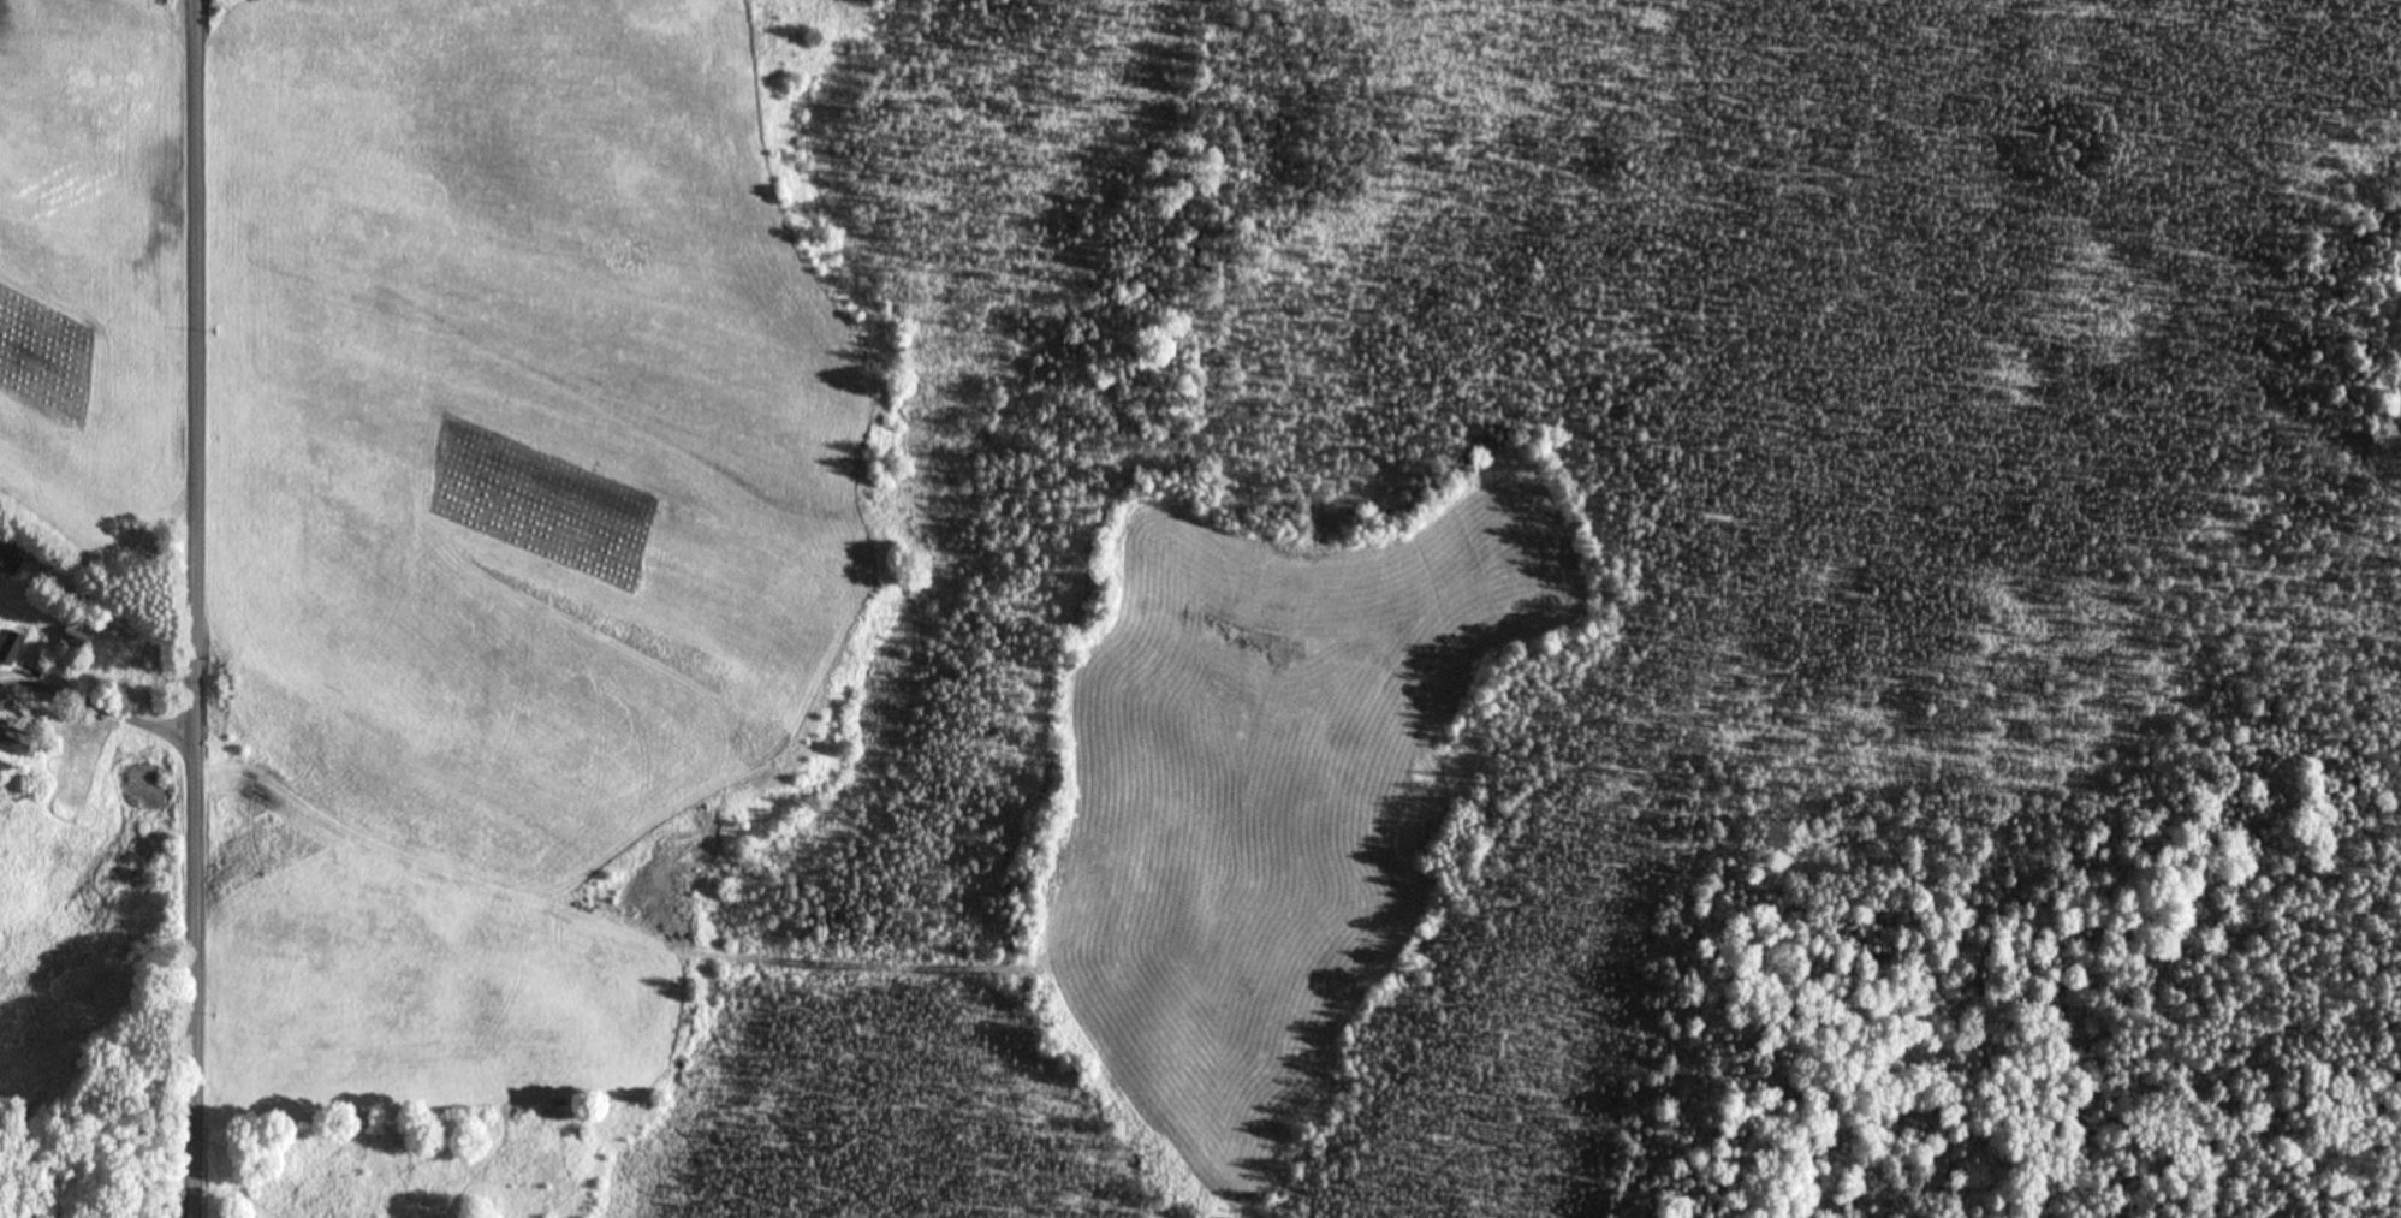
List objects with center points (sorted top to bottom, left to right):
road: (192, 608)
building: (70, 636)
building: (10, 643)
building: (7, 738)

